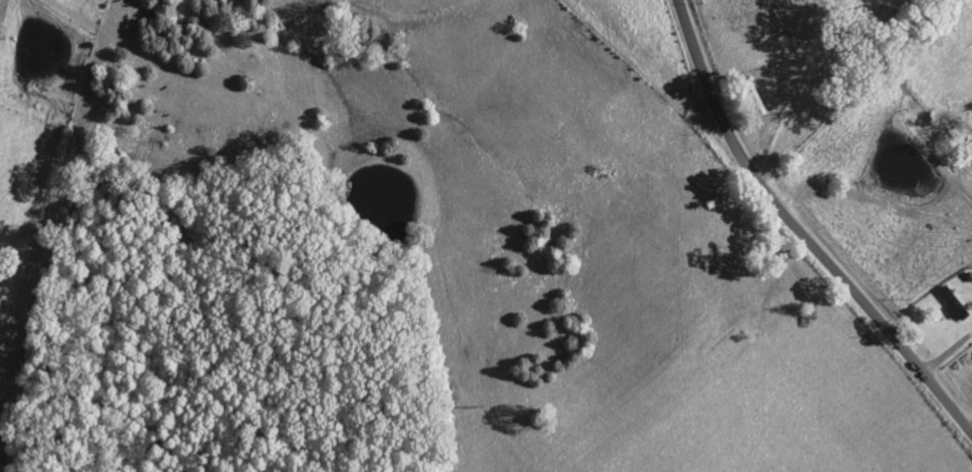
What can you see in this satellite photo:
road: (798, 233)
building: (954, 303)

